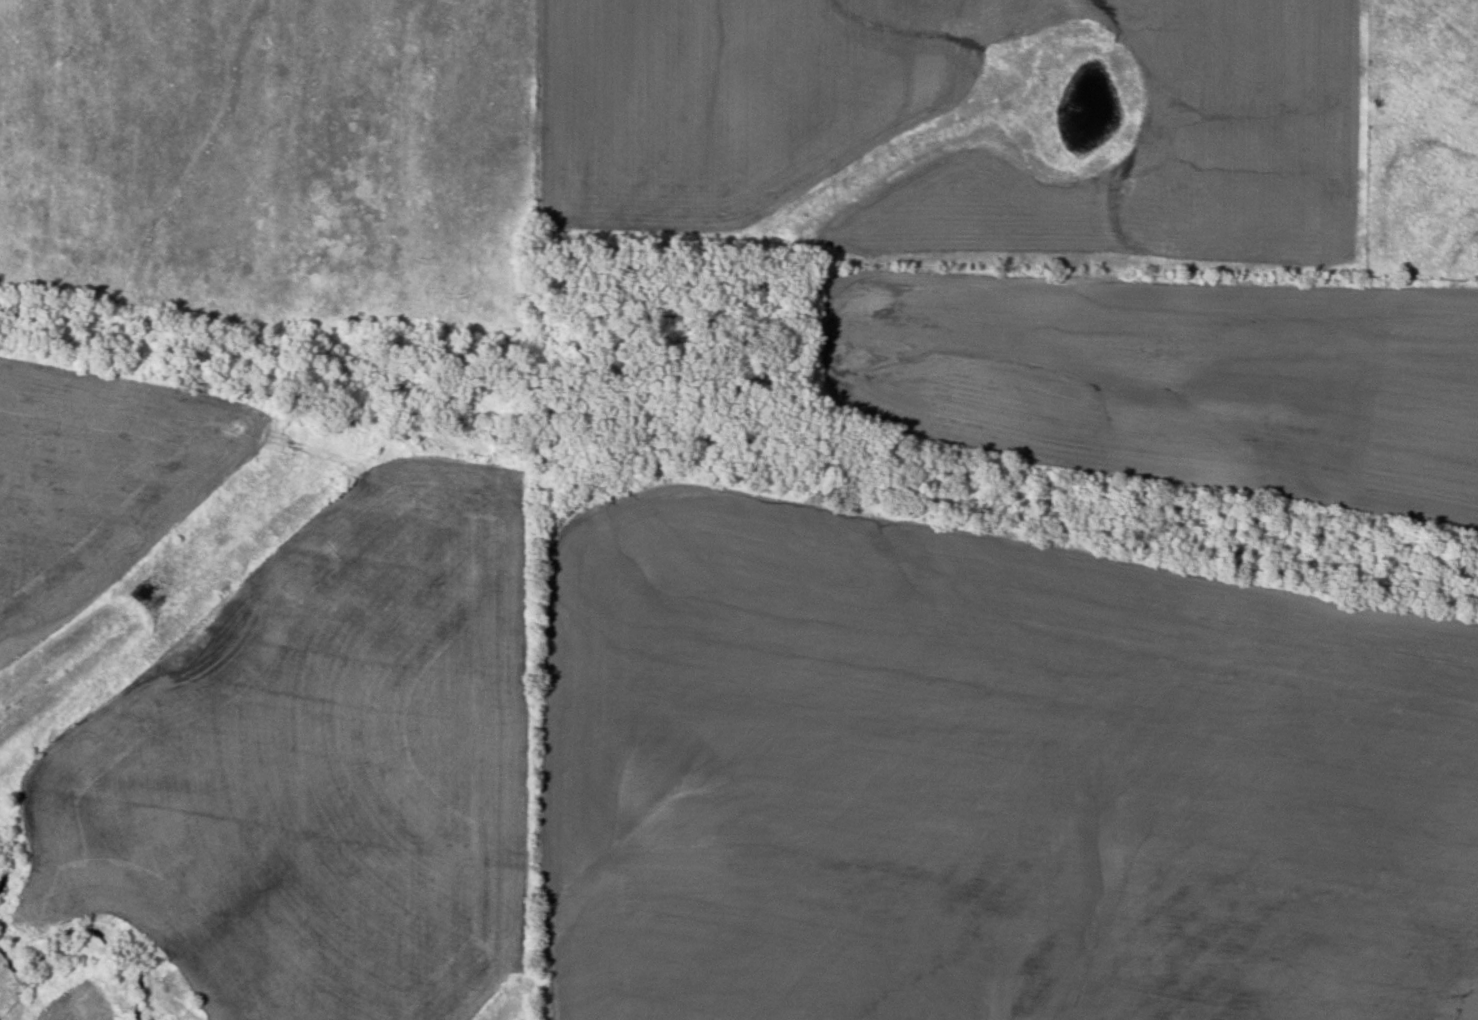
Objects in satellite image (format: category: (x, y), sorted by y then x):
crop: (1208, 124)
crop: (1172, 375)
crop: (988, 774)

